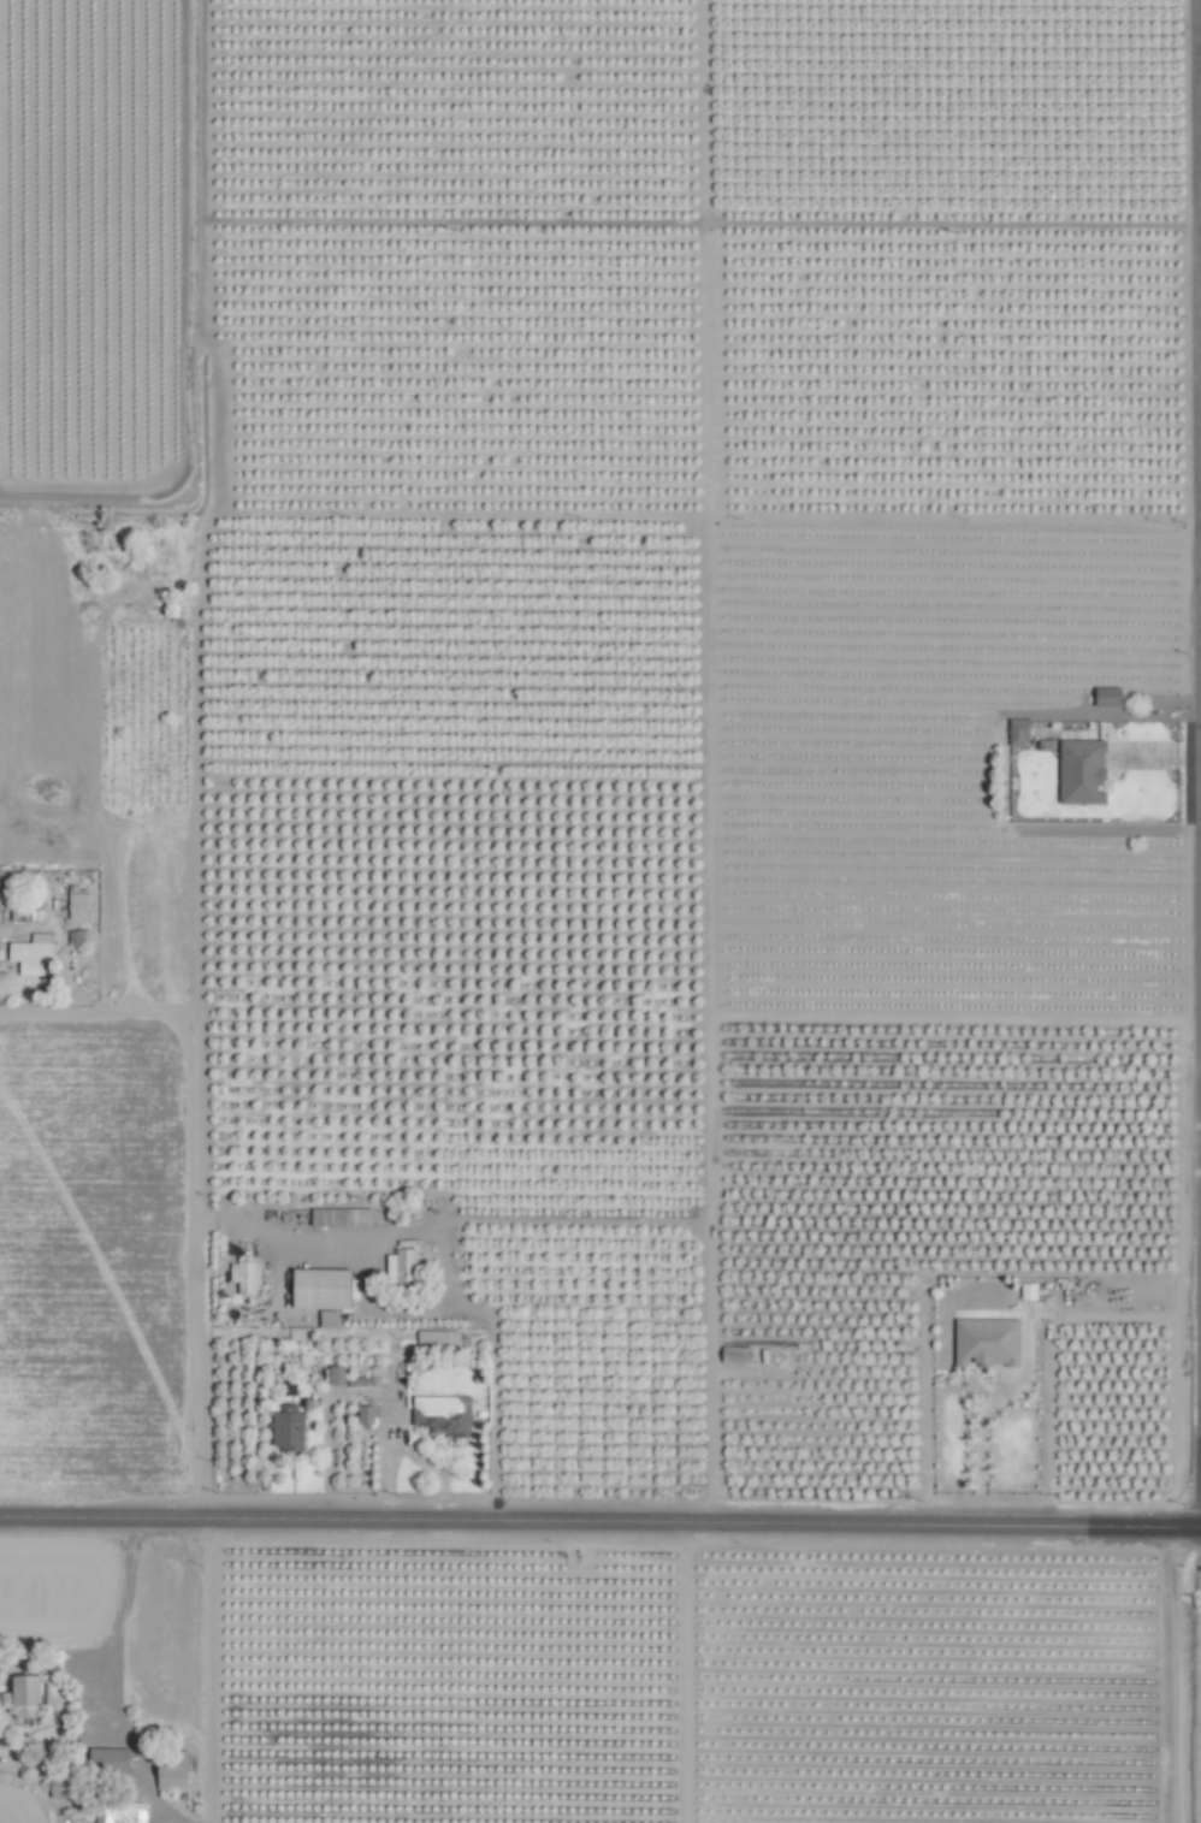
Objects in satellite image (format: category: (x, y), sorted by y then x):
building: (1104, 696)
building: (1016, 729)
road: (1197, 751)
building: (1078, 770)
building: (75, 905)
crop: (600, 911)
building: (77, 936)
building: (28, 953)
road: (196, 1063)
building: (338, 1217)
road: (703, 1233)
building: (398, 1268)
road: (445, 1269)
building: (243, 1277)
building: (316, 1289)
building: (326, 1319)
building: (436, 1339)
building: (983, 1342)
building: (333, 1375)
building: (362, 1414)
building: (442, 1416)
building: (285, 1431)
road: (599, 1522)
road: (206, 1670)
building: (19, 1689)
road: (99, 1698)
building: (6, 1747)
building: (106, 1760)
building: (168, 1774)
building: (120, 1813)

